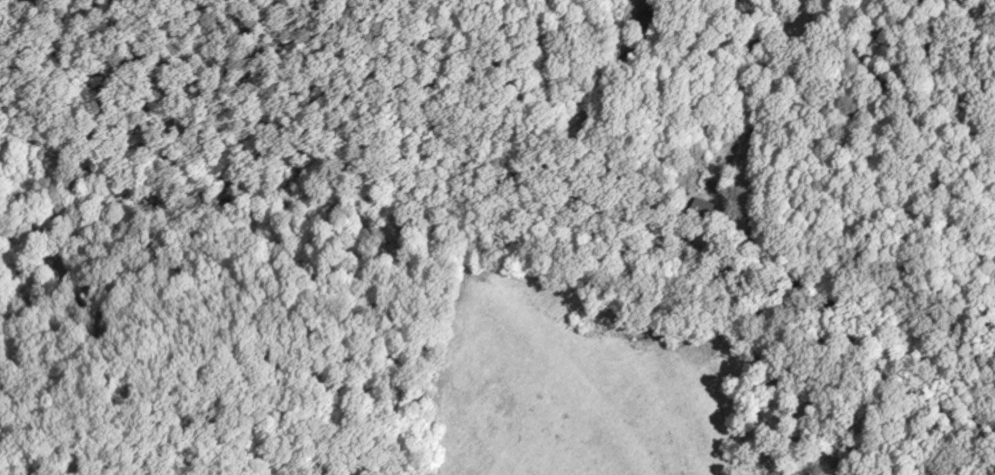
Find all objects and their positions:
building: (655, 24)
building: (704, 211)

